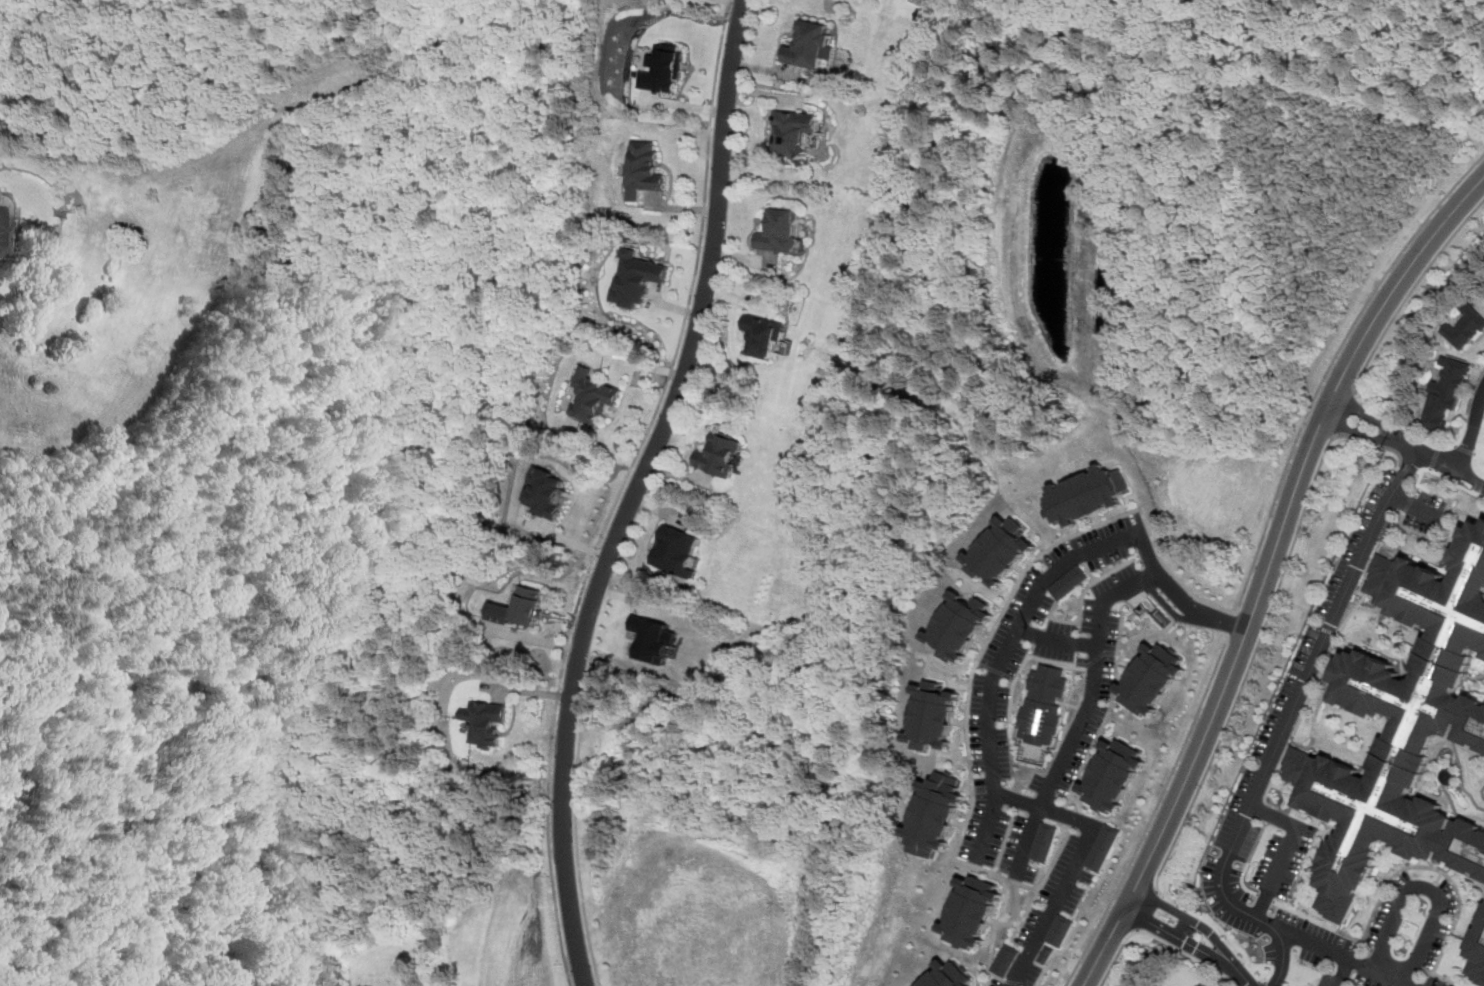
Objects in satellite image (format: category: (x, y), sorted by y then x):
building: (812, 44)
building: (662, 69)
road: (1347, 104)
building: (794, 130)
building: (643, 168)
road: (1242, 188)
building: (4, 217)
building: (781, 232)
building: (636, 279)
road: (1412, 291)
building: (1466, 327)
building: (763, 335)
road: (1329, 364)
building: (1447, 392)
building: (592, 396)
road: (1361, 408)
road: (1343, 411)
road: (1305, 422)
road: (1471, 433)
road: (1335, 434)
road: (1368, 434)
road: (1404, 436)
road: (1358, 440)
road: (1396, 451)
building: (719, 456)
road: (1418, 464)
road: (1449, 467)
road: (617, 490)
road: (637, 491)
building: (545, 493)
building: (1087, 494)
building: (1002, 550)
building: (676, 553)
road: (1266, 569)
building: (1070, 581)
road: (1179, 593)
building: (519, 608)
road: (1169, 608)
building: (962, 625)
road: (1015, 632)
building: (651, 638)
road: (1057, 638)
road: (1250, 666)
road: (1094, 678)
building: (1152, 678)
building: (1044, 704)
building: (935, 715)
road: (1301, 717)
building: (485, 721)
road: (1319, 723)
road: (1286, 725)
building: (1114, 774)
road: (1160, 803)
road: (1273, 806)
building: (936, 813)
road: (1269, 813)
building: (1374, 822)
road: (987, 825)
road: (1028, 840)
building: (1044, 841)
building: (1103, 846)
road: (1254, 849)
road: (1289, 849)
road: (579, 850)
road: (1077, 859)
road: (1452, 878)
road: (1428, 887)
road: (1248, 888)
road: (1266, 900)
building: (973, 911)
road: (1145, 913)
road: (1324, 924)
building: (1061, 929)
road: (1160, 938)
road: (1194, 938)
building: (1477, 951)
building: (1047, 953)
road: (1347, 956)
road: (1397, 958)
building: (1007, 959)
road: (1427, 969)
road: (1344, 972)
building: (949, 975)
road: (1259, 983)
road: (1264, 983)
building: (1206, 984)

